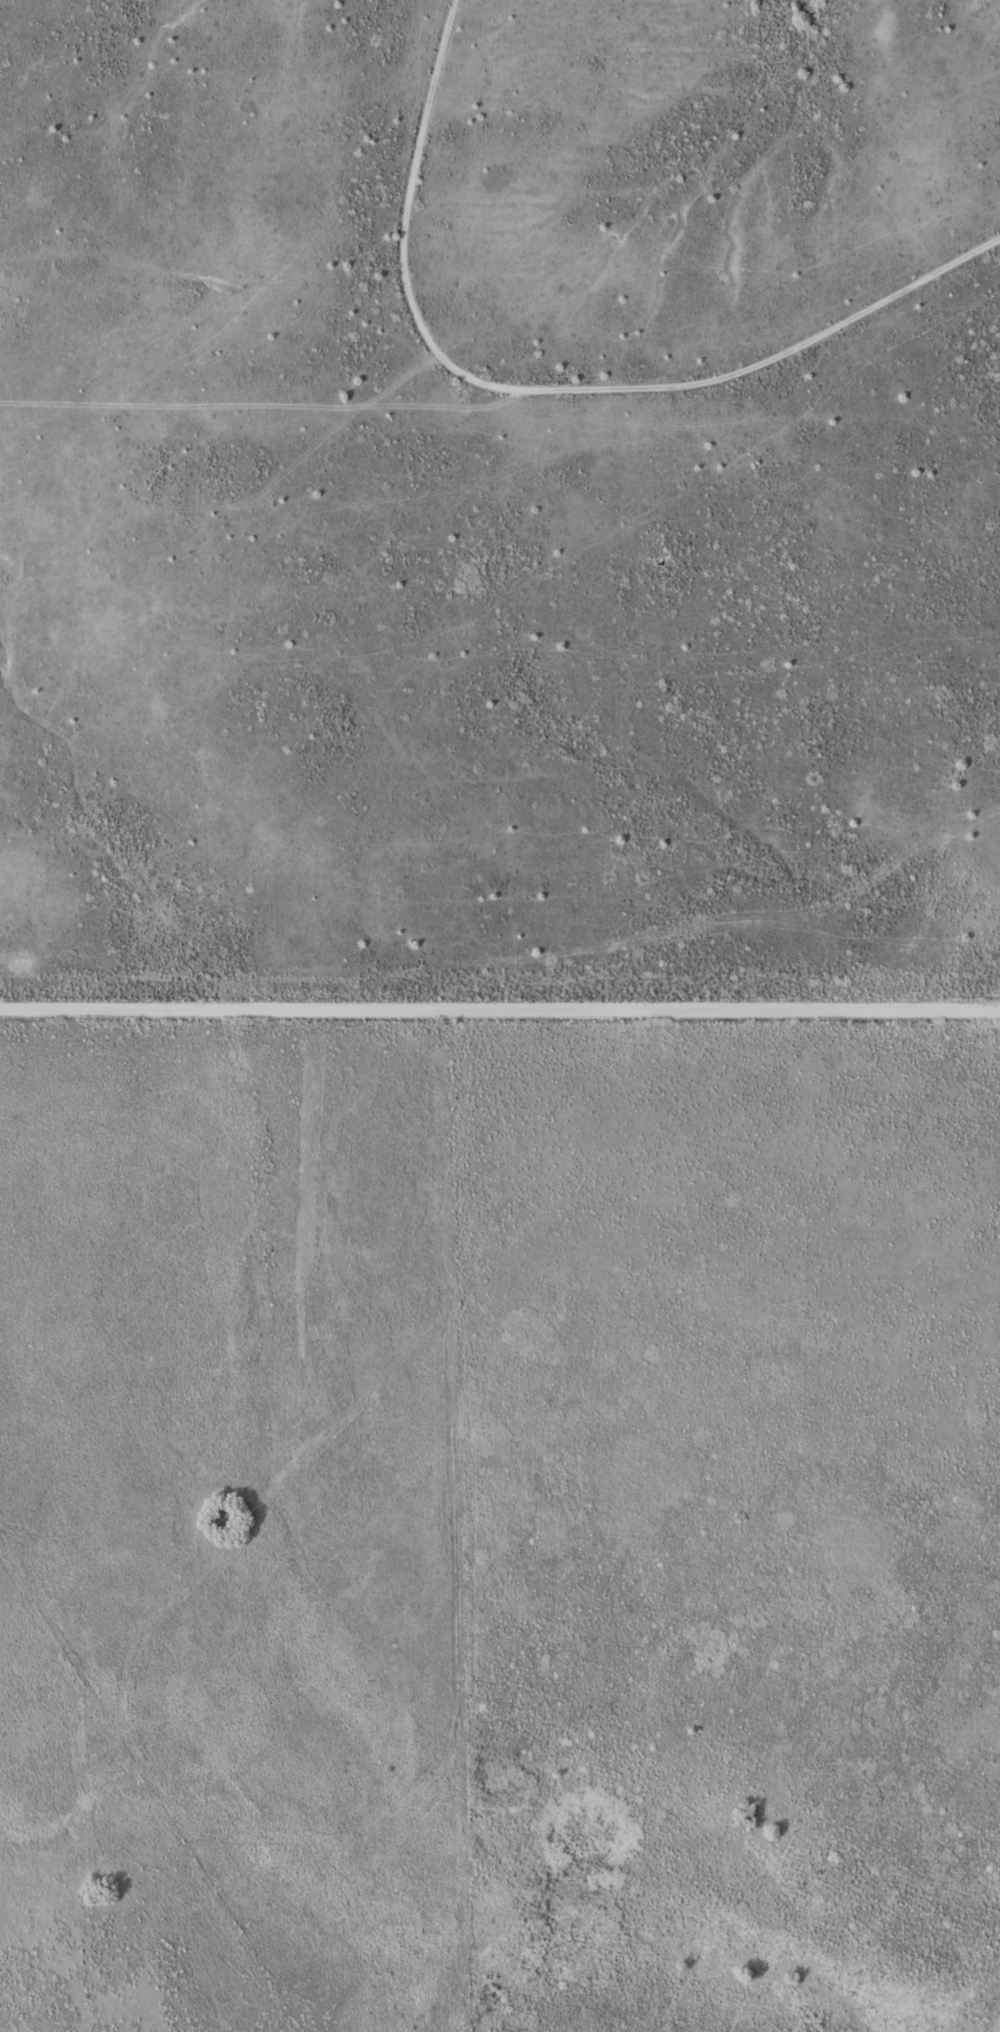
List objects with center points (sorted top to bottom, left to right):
road: (500, 1005)

